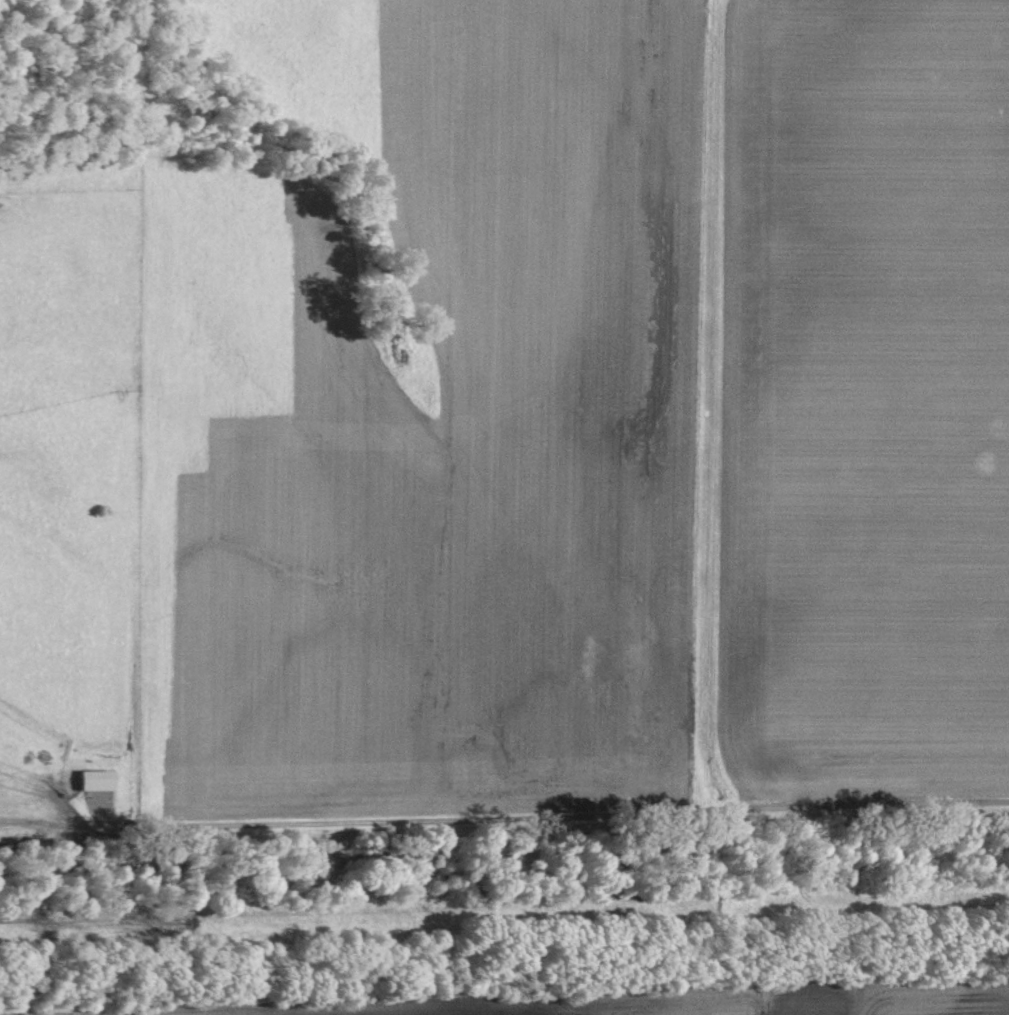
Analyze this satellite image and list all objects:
building: (92, 780)

